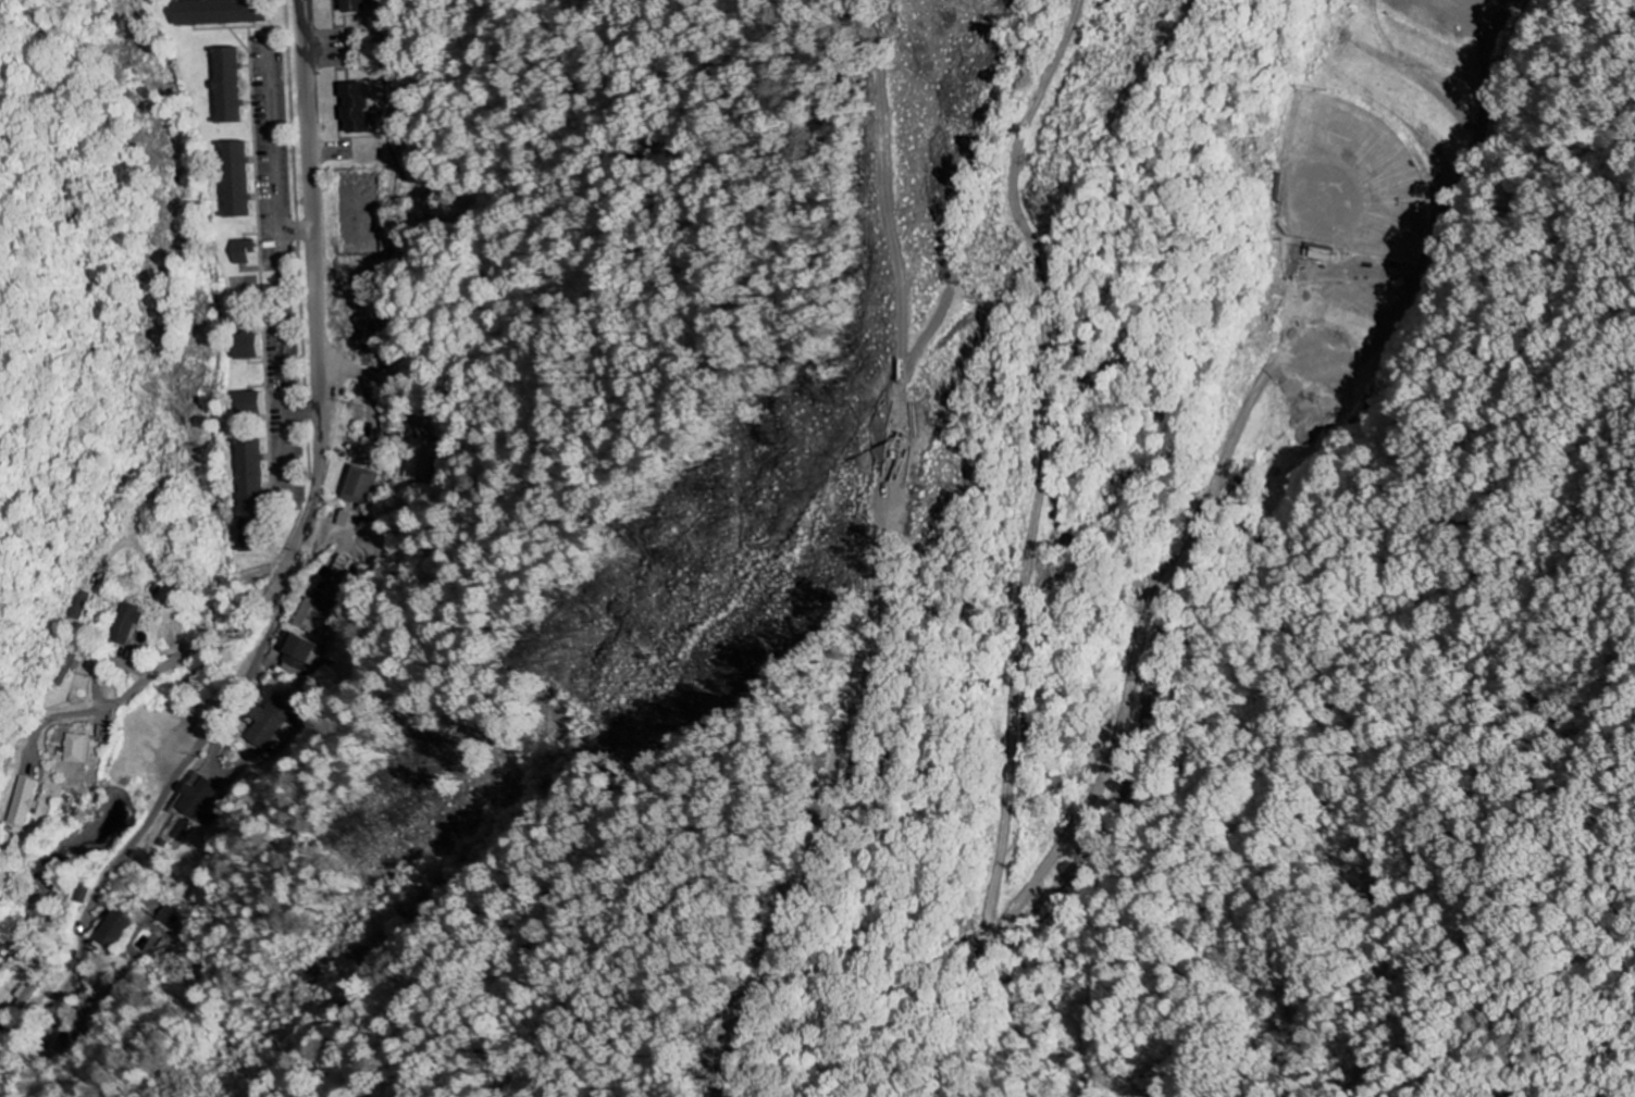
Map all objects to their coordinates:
building: (351, 7)
building: (215, 13)
road: (1491, 50)
building: (226, 87)
building: (352, 110)
building: (235, 182)
building: (243, 252)
building: (1317, 255)
building: (259, 349)
building: (261, 404)
power tower: (896, 409)
building: (262, 469)
building: (360, 486)
building: (351, 521)
building: (344, 575)
road: (288, 583)
building: (313, 616)
building: (304, 648)
building: (79, 748)
building: (198, 798)
building: (28, 800)
building: (172, 919)
building: (120, 930)

